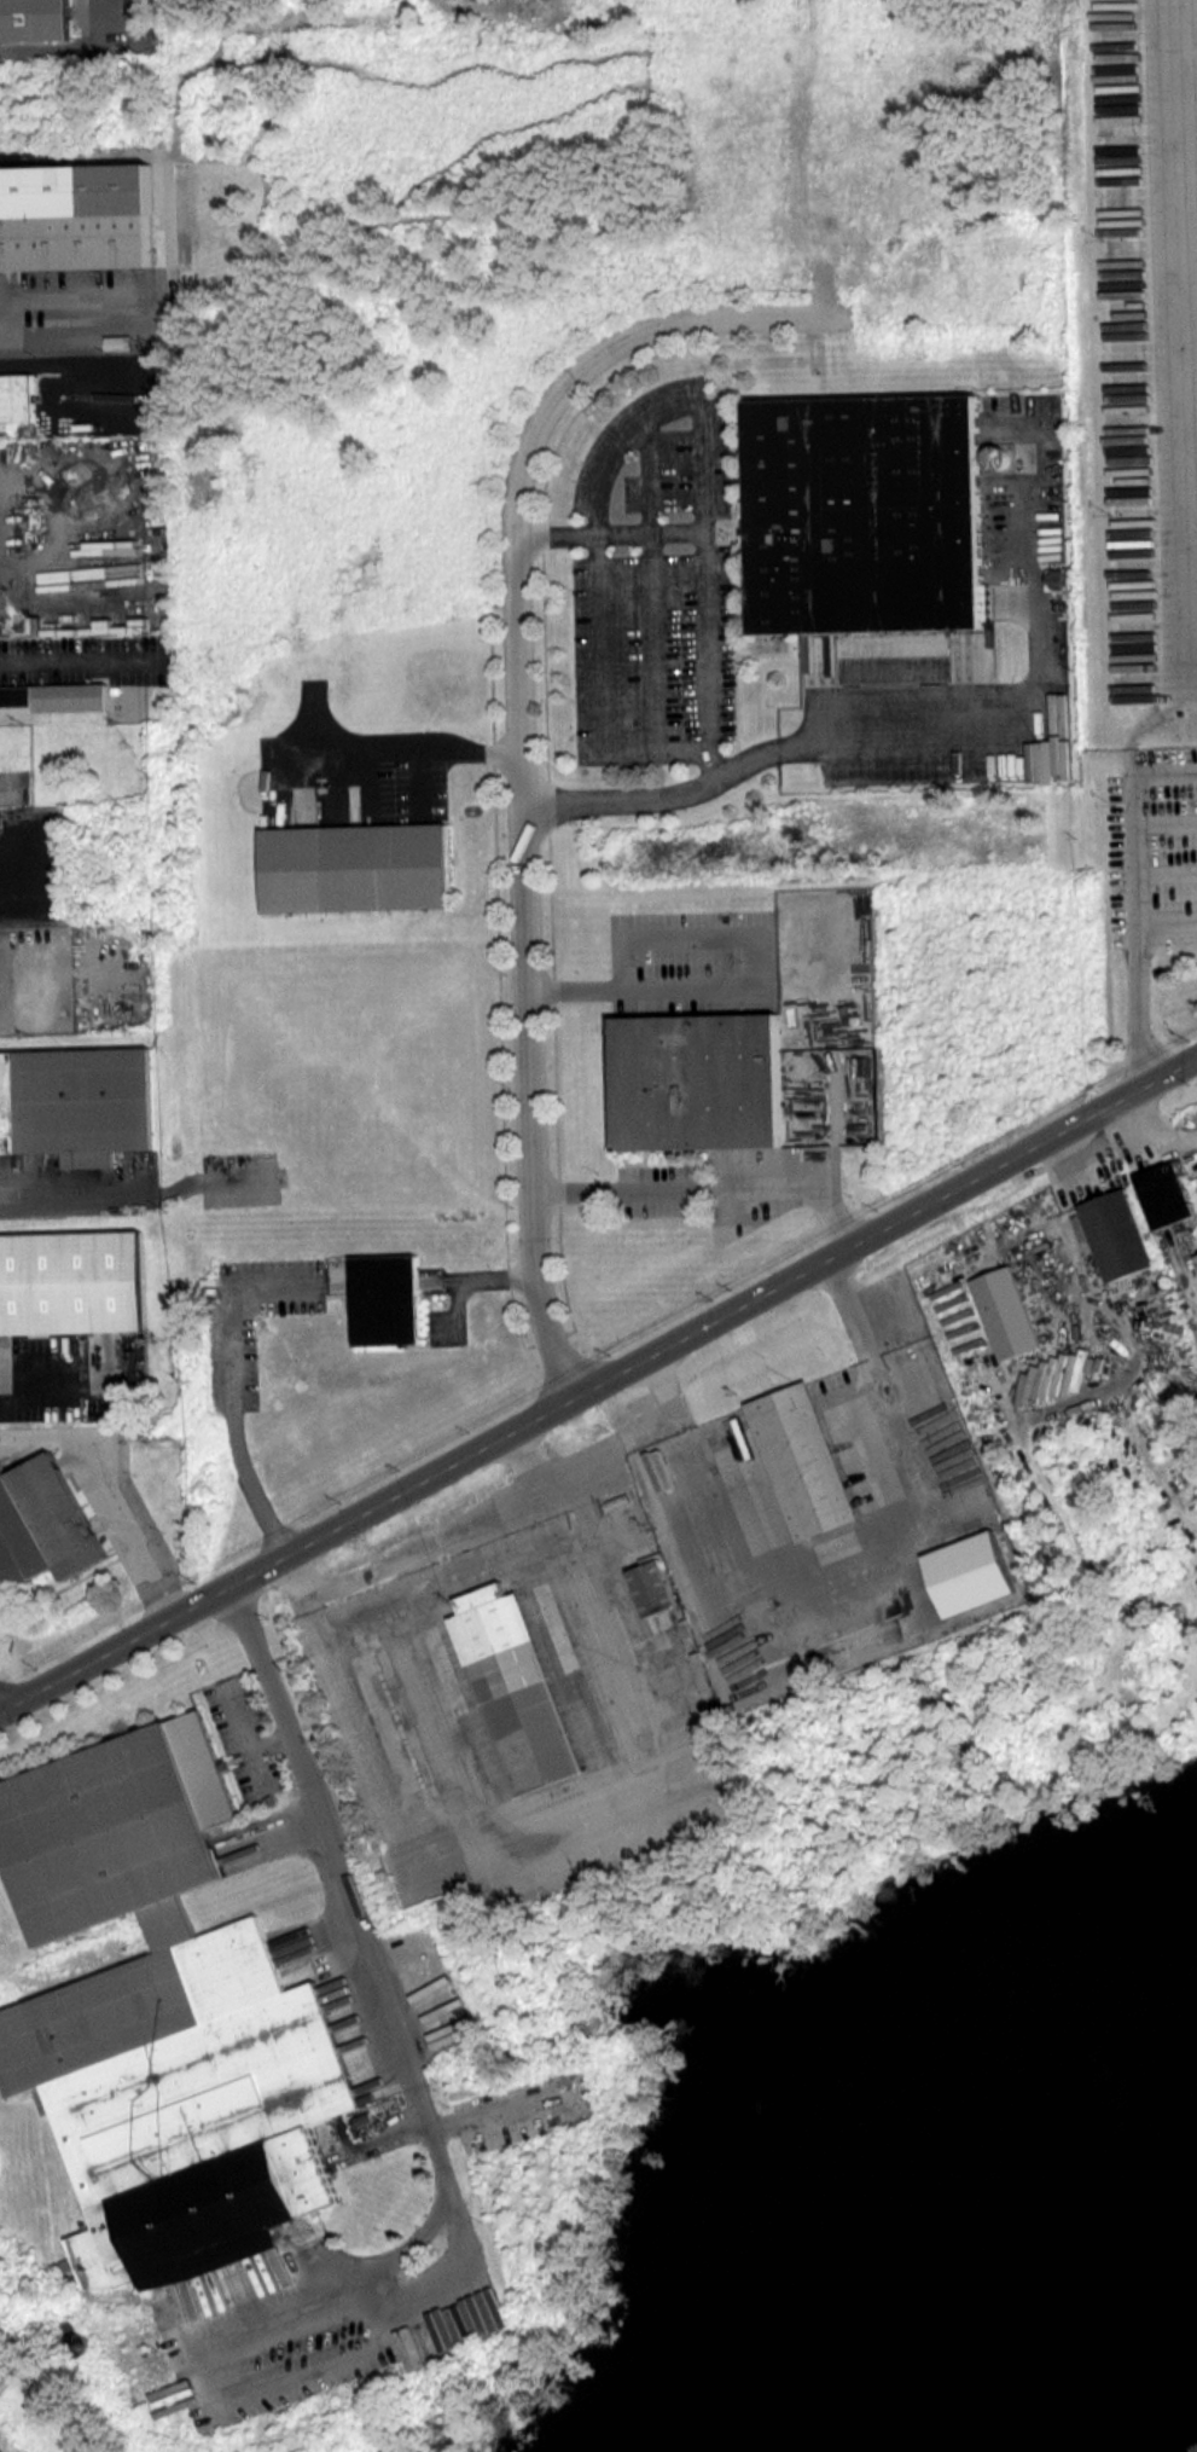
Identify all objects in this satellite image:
building: (36, 19)
road: (1189, 190)
building: (77, 218)
road: (7, 319)
building: (17, 396)
building: (868, 514)
road: (592, 550)
parking lot: (653, 584)
parking lot: (969, 640)
road: (72, 660)
building: (58, 696)
road: (1145, 724)
road: (518, 732)
road: (990, 734)
road: (402, 754)
road: (713, 761)
road: (622, 800)
road: (1167, 817)
road: (1137, 824)
building: (356, 869)
road: (1167, 873)
road: (1167, 933)
parking lot: (693, 962)
road: (643, 991)
road: (1138, 1009)
building: (696, 1080)
building: (79, 1103)
road: (1, 1181)
road: (704, 1189)
road: (139, 1200)
road: (41, 1210)
road: (495, 1280)
building: (72, 1282)
building: (387, 1299)
road: (599, 1382)
road: (231, 1385)
road: (664, 1385)
road: (40, 1386)
road: (525, 1456)
road: (470, 1515)
building: (42, 1523)
road: (881, 1563)
road: (563, 1820)
road: (370, 1959)
building: (159, 2015)
road: (342, 2277)
road: (240, 2369)

